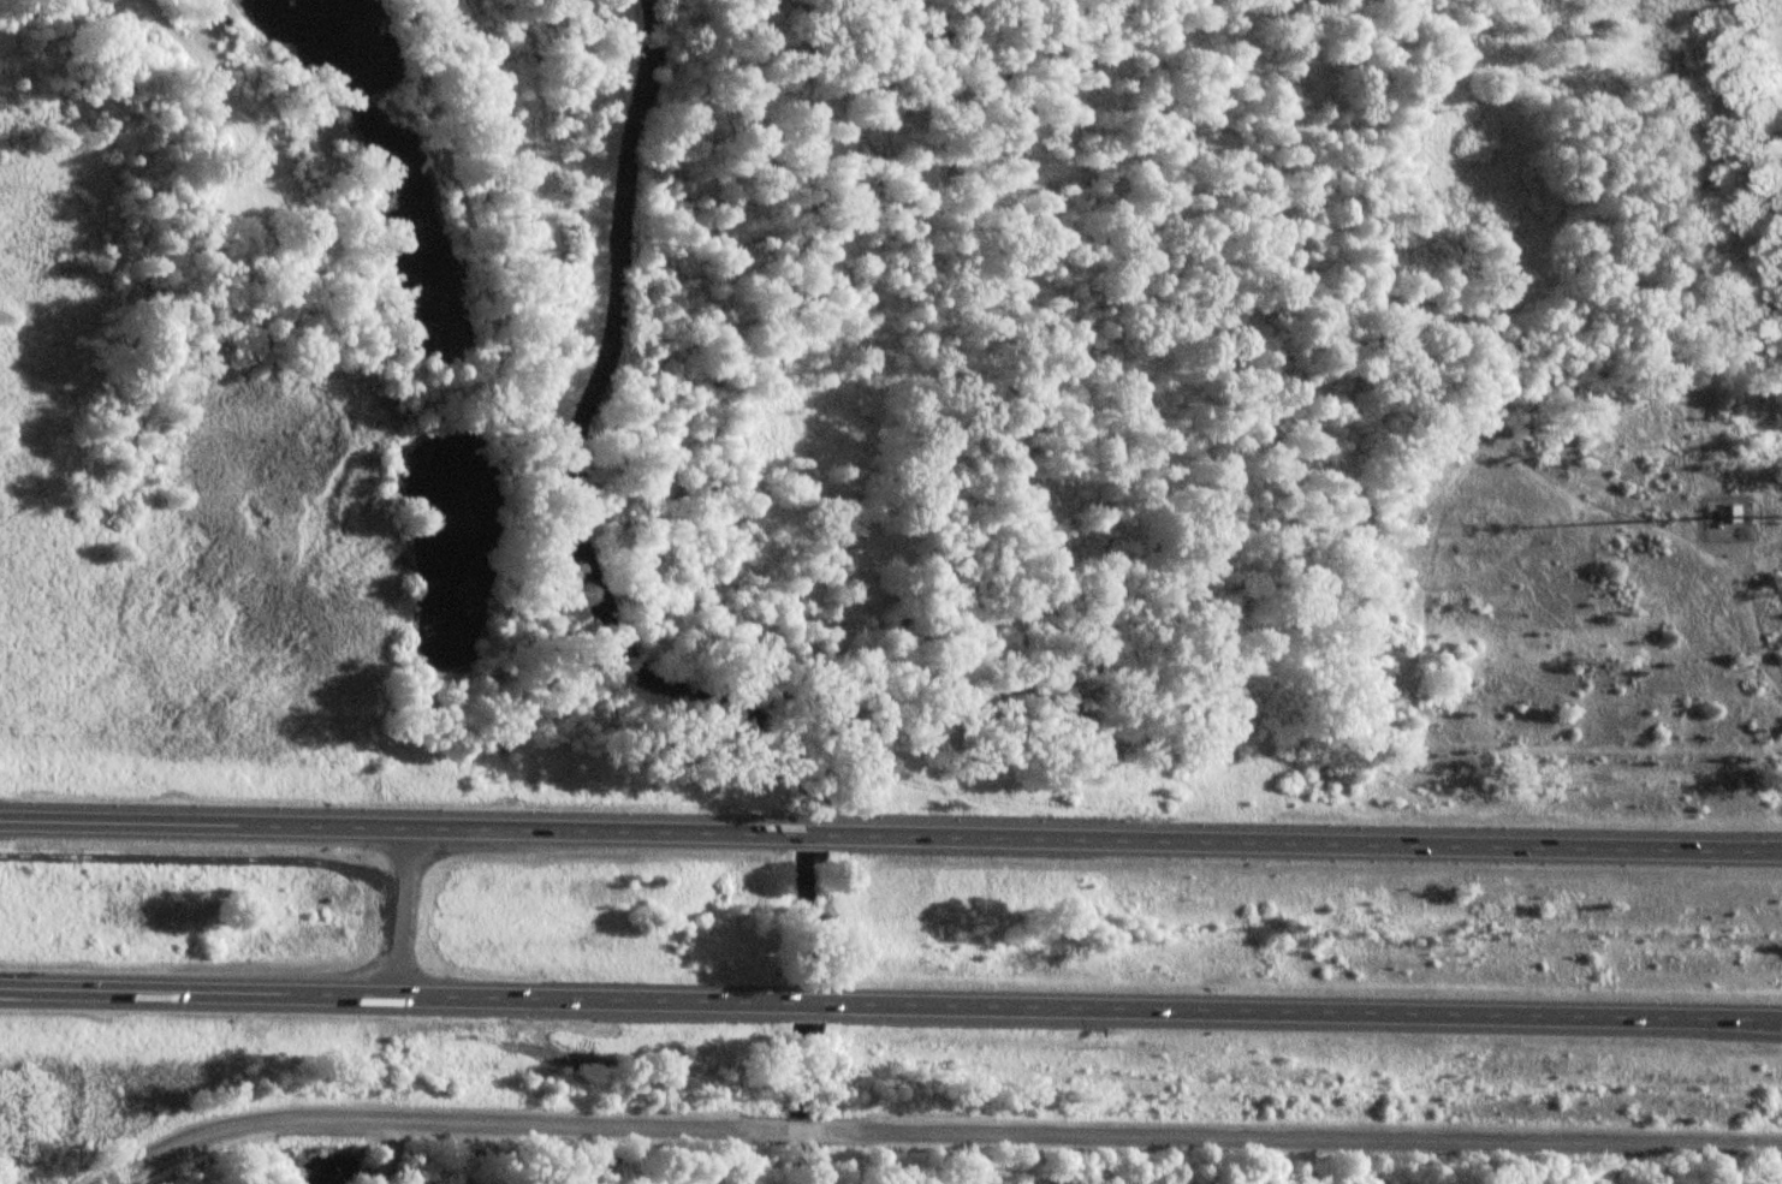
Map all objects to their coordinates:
road: (168, 25)
road: (1742, 588)
road: (393, 823)
road: (804, 832)
road: (1301, 837)
road: (398, 909)
road: (392, 994)
road: (802, 1001)
road: (1300, 1011)
road: (430, 1119)
road: (798, 1128)
road: (1297, 1136)
road: (388, 1153)

